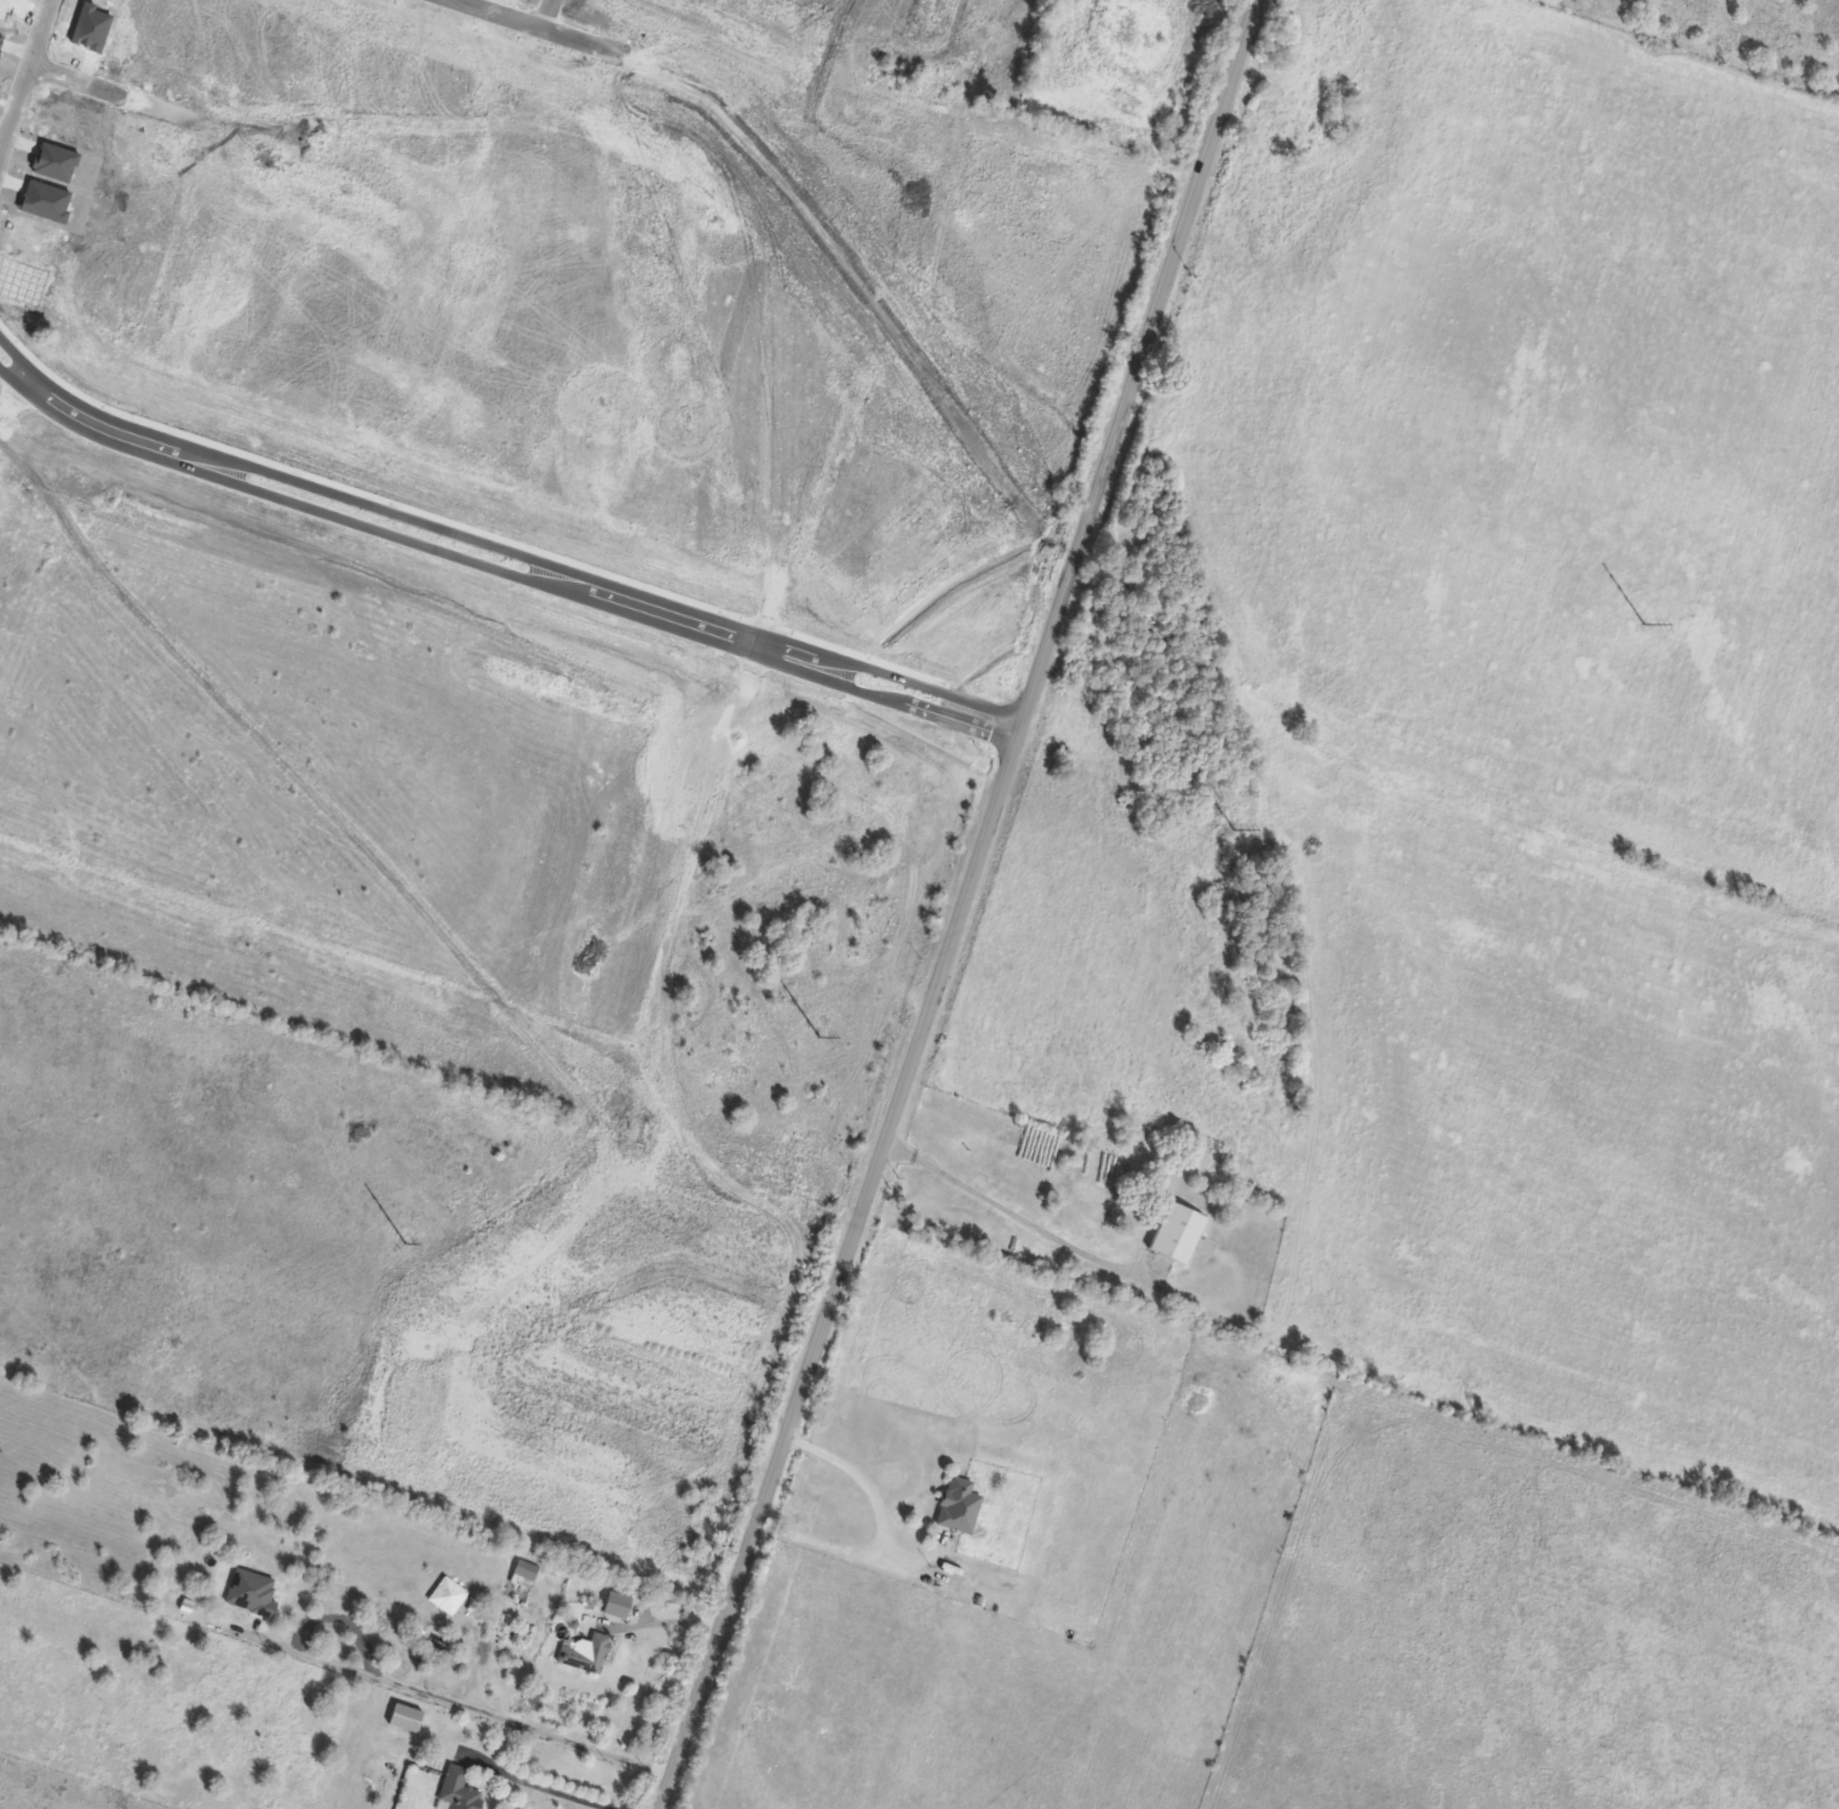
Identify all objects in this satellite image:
road: (547, 15)
road: (634, 59)
road: (23, 73)
road: (115, 97)
road: (10, 406)
road: (500, 561)
power tower: (1647, 625)
power tower: (1240, 831)
road: (19, 840)
road: (961, 903)
power tower: (824, 1039)
road: (1015, 1214)
building: (1177, 1234)
power tower: (409, 1245)
building: (959, 1506)
road: (898, 1535)
building: (617, 1604)
road: (667, 1621)
building: (587, 1654)
road: (472, 1707)
building: (407, 1718)
road: (536, 1786)
building: (460, 1791)

